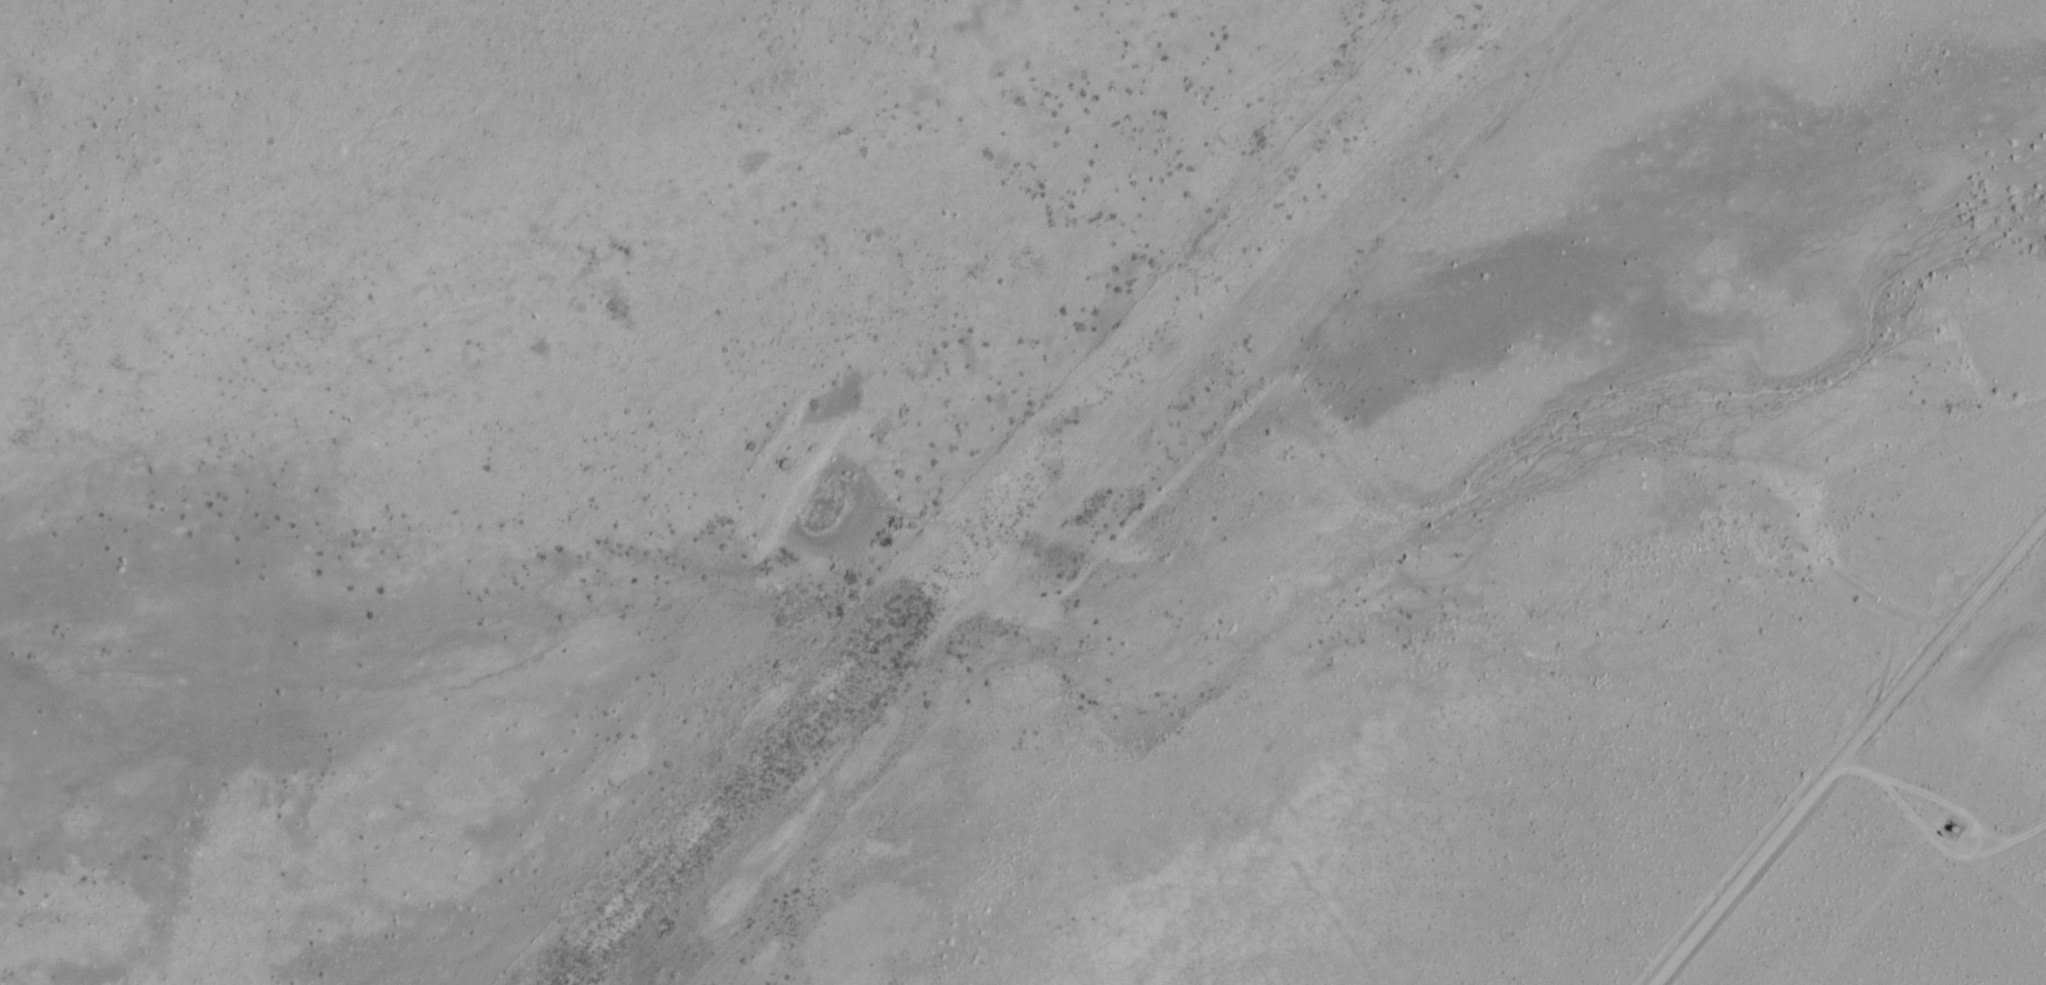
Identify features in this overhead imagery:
road: (1846, 749)
road: (1953, 795)
road: (1936, 832)

